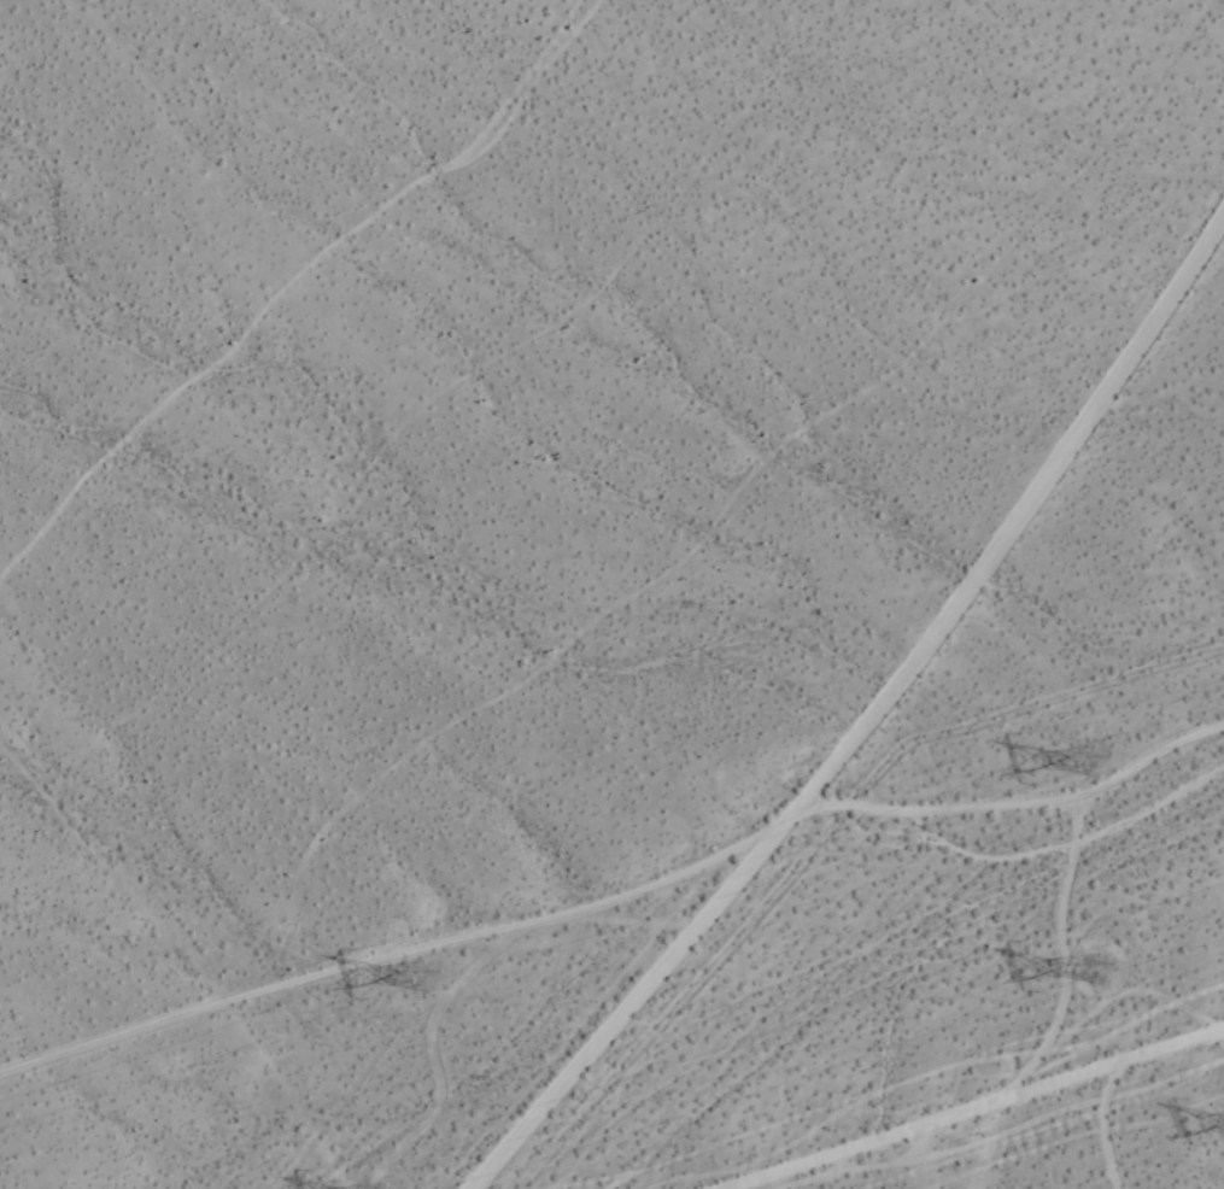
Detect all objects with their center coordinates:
road: (859, 704)
power tower: (1101, 766)
power tower: (1108, 963)
power tower: (446, 967)
road: (942, 1100)

